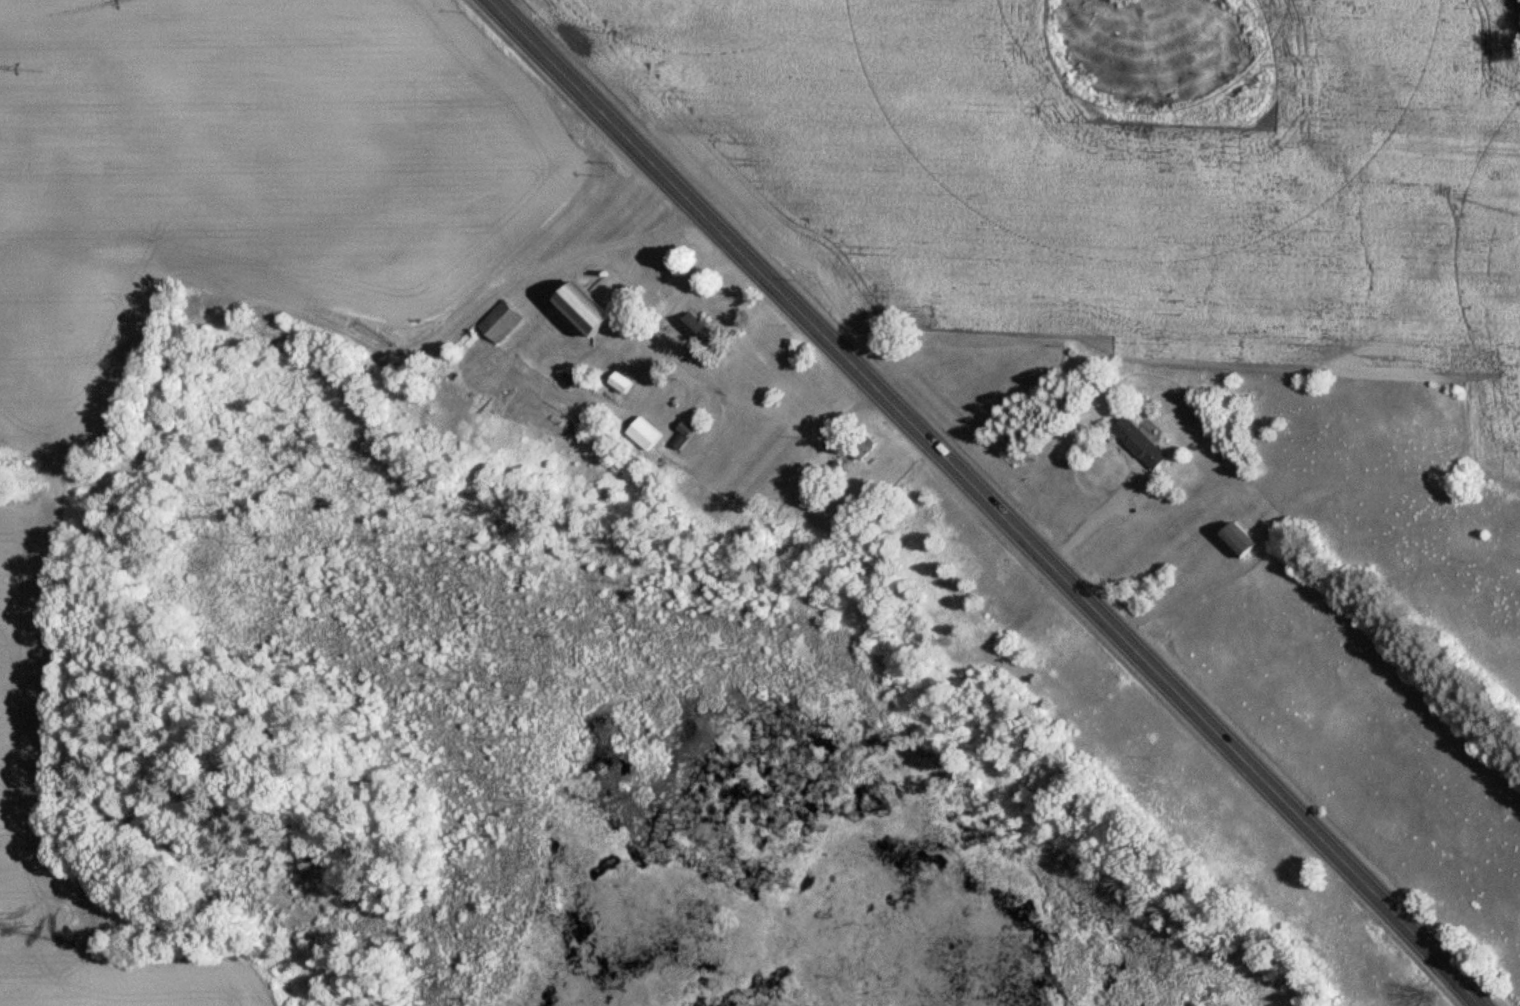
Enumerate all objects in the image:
building: (587, 311)
road: (321, 322)
building: (500, 323)
building: (697, 328)
road: (676, 368)
building: (621, 384)
building: (644, 435)
building: (1141, 444)
road: (990, 500)
road: (1094, 518)
building: (1238, 543)

